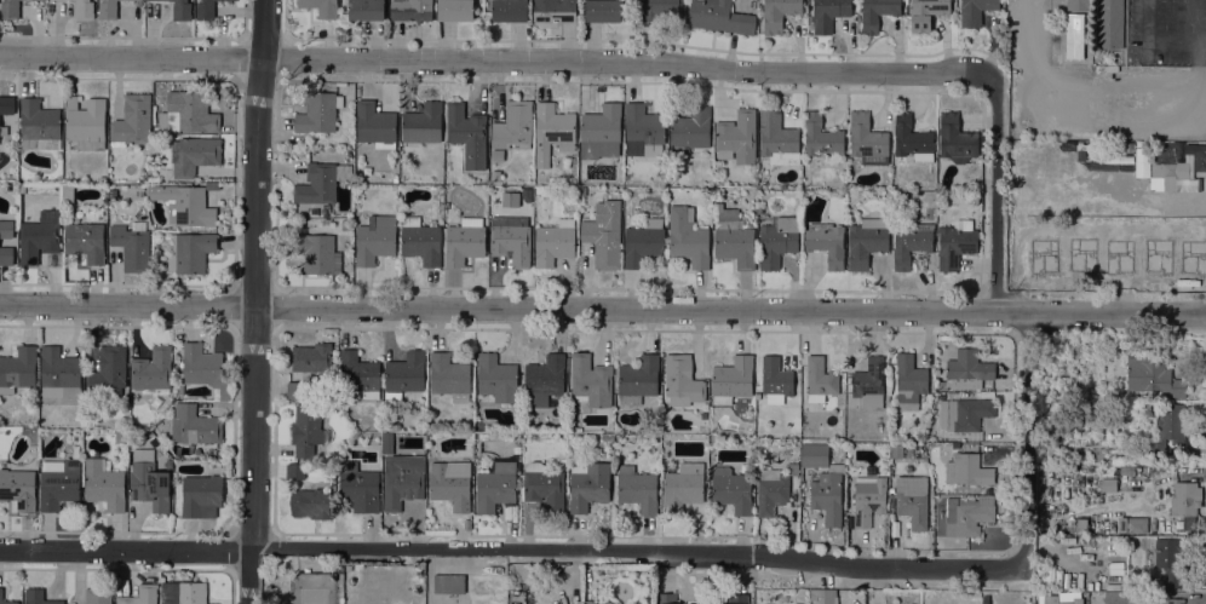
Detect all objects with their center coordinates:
building: (39, 0)
building: (51, 0)
building: (1078, 5)
building: (321, 7)
building: (661, 8)
building: (10, 10)
building: (84, 10)
building: (107, 10)
building: (180, 10)
building: (207, 10)
building: (366, 10)
building: (410, 10)
building: (455, 10)
building: (510, 11)
building: (553, 11)
building: (603, 11)
building: (975, 11)
building: (779, 13)
building: (877, 13)
building: (926, 13)
building: (828, 15)
building: (719, 17)
building: (1108, 24)
road: (1202, 25)
building: (1074, 36)
road: (1152, 42)
road: (492, 61)
road: (1112, 100)
building: (6, 105)
building: (190, 113)
building: (318, 113)
building: (132, 121)
building: (86, 123)
building: (423, 123)
building: (39, 125)
building: (375, 125)
building: (513, 126)
building: (156, 130)
building: (644, 130)
building: (690, 131)
building: (552, 132)
building: (601, 132)
building: (467, 134)
building: (820, 136)
building: (736, 137)
building: (955, 138)
building: (777, 139)
building: (912, 139)
building: (867, 140)
building: (193, 155)
building: (496, 155)
building: (1196, 156)
building: (1170, 172)
building: (494, 177)
building: (320, 183)
road: (995, 194)
building: (188, 207)
building: (110, 213)
building: (327, 222)
building: (345, 225)
building: (6, 229)
building: (604, 235)
building: (39, 237)
building: (688, 237)
building: (375, 240)
building: (734, 240)
building: (85, 241)
building: (420, 241)
building: (511, 241)
building: (777, 241)
building: (464, 242)
building: (555, 242)
building: (866, 242)
building: (911, 242)
building: (643, 243)
building: (826, 243)
building: (955, 245)
building: (132, 247)
building: (190, 252)
building: (317, 254)
building: (6, 255)
road: (254, 301)
road: (602, 310)
building: (312, 361)
building: (969, 368)
building: (18, 369)
building: (108, 369)
building: (151, 369)
building: (205, 369)
building: (59, 373)
building: (404, 374)
building: (358, 375)
building: (449, 376)
building: (496, 378)
building: (545, 378)
building: (1153, 378)
building: (638, 379)
building: (775, 379)
building: (733, 380)
building: (820, 380)
building: (590, 381)
building: (682, 381)
building: (909, 381)
building: (869, 384)
building: (942, 385)
building: (295, 390)
building: (703, 415)
building: (965, 415)
building: (195, 426)
building: (1168, 426)
building: (306, 430)
building: (119, 437)
road: (1027, 437)
building: (1086, 437)
building: (1051, 445)
building: (516, 450)
building: (896, 450)
building: (470, 461)
building: (383, 462)
building: (167, 464)
building: (967, 467)
building: (792, 470)
building: (295, 471)
building: (148, 481)
building: (402, 481)
building: (823, 483)
building: (58, 484)
building: (104, 485)
building: (588, 485)
building: (1108, 485)
building: (450, 487)
building: (495, 487)
building: (542, 487)
building: (683, 487)
building: (358, 488)
building: (18, 489)
building: (637, 489)
building: (731, 489)
building: (770, 491)
building: (201, 496)
building: (1185, 497)
building: (868, 499)
building: (912, 500)
building: (311, 504)
building: (969, 513)
building: (1122, 524)
building: (1137, 527)
road: (124, 551)
road: (634, 552)
building: (1166, 559)
building: (448, 583)
building: (189, 592)
building: (0, 594)
building: (97, 596)
building: (140, 596)
building: (823, 596)
building: (38, 597)
building: (1124, 597)
building: (666, 598)
building: (737, 599)
building: (984, 599)
building: (1050, 600)
building: (1175, 600)

